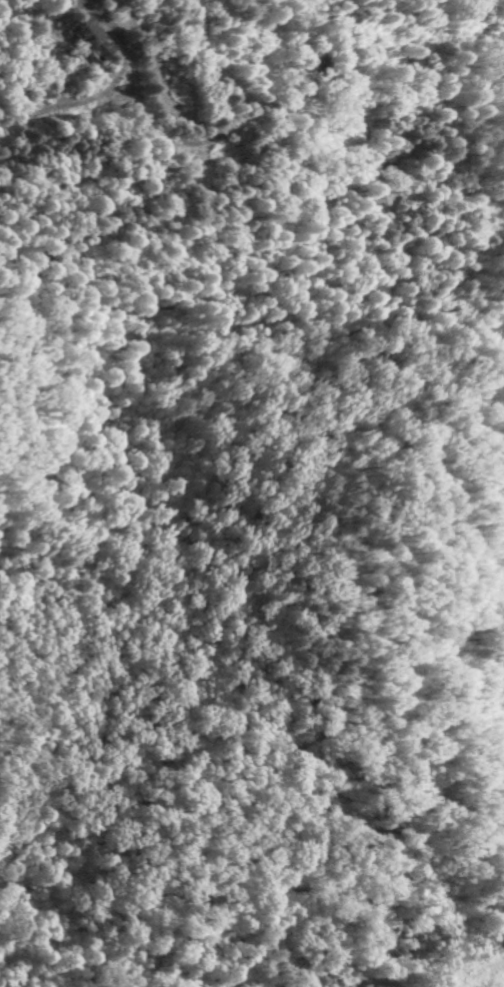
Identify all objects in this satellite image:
building: (91, 41)

